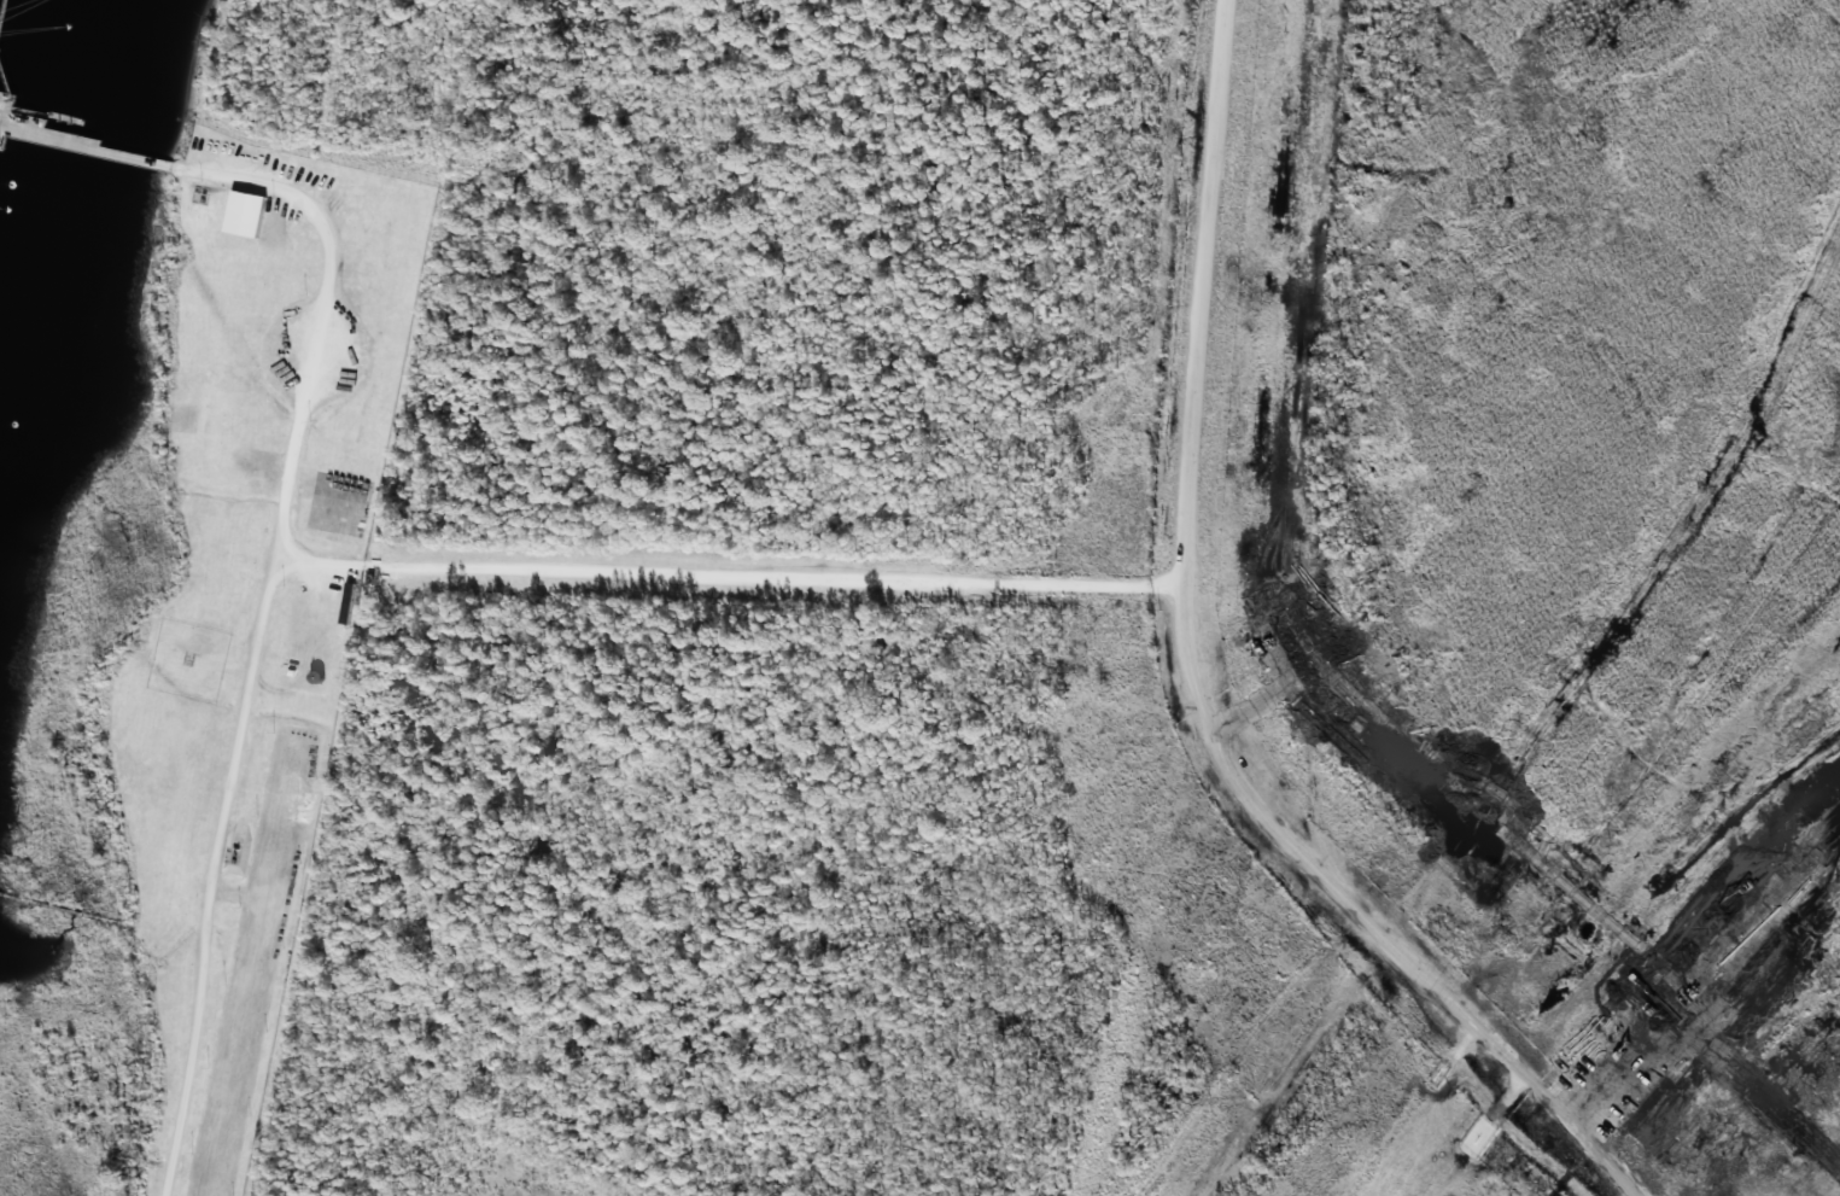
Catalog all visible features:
road: (2, 13)
road: (5, 78)
road: (31, 111)
pier: (63, 118)
pier: (64, 138)
building: (200, 198)
building: (244, 214)
road: (321, 314)
parking lot: (314, 354)
road: (1309, 471)
road: (1186, 503)
parking lot: (337, 504)
road: (320, 562)
road: (771, 574)
building: (345, 602)
building: (290, 673)
building: (315, 677)
storage tank: (315, 677)
building: (234, 850)
road: (212, 875)
road: (228, 893)
road: (66, 910)
power tower: (1501, 940)
parking lot: (251, 969)
road: (1507, 1064)

